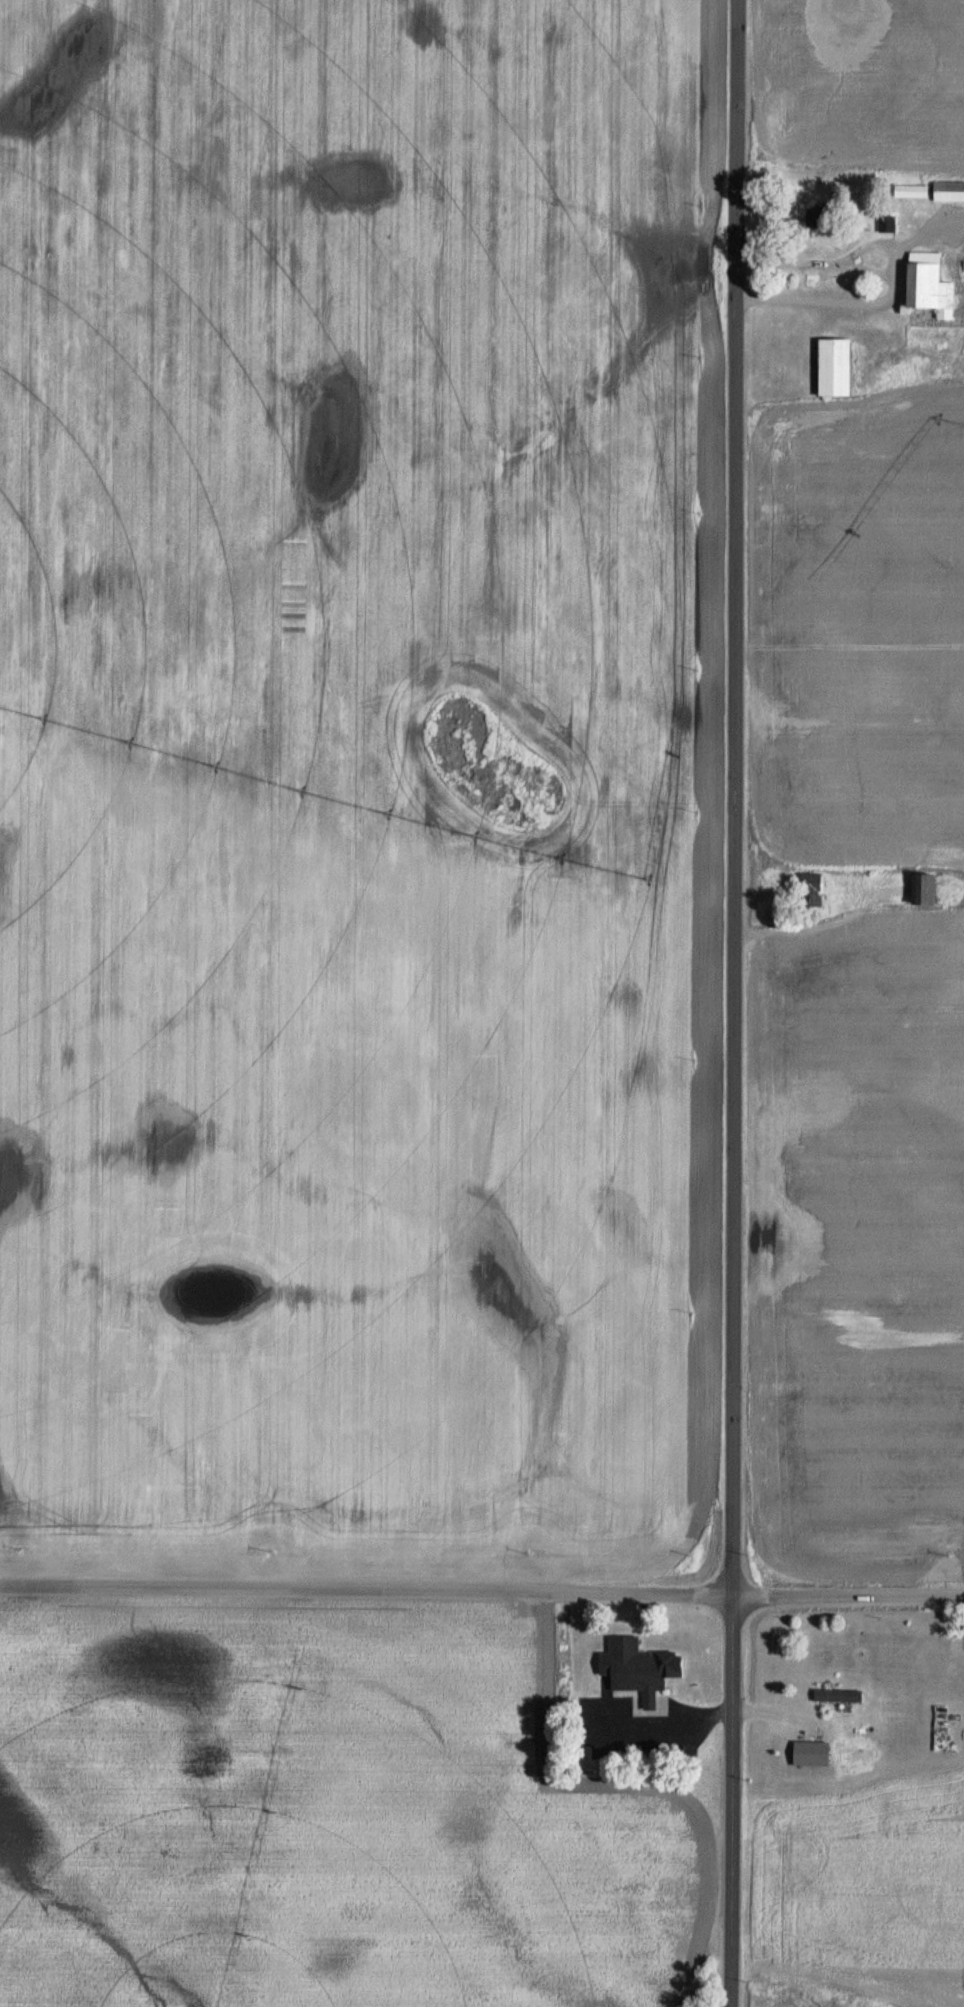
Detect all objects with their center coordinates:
building: (947, 192)
building: (885, 224)
road: (889, 284)
building: (925, 284)
building: (831, 367)
building: (808, 890)
building: (919, 890)
road: (732, 1003)
road: (481, 1594)
building: (636, 1669)
building: (836, 1696)
building: (808, 1754)

